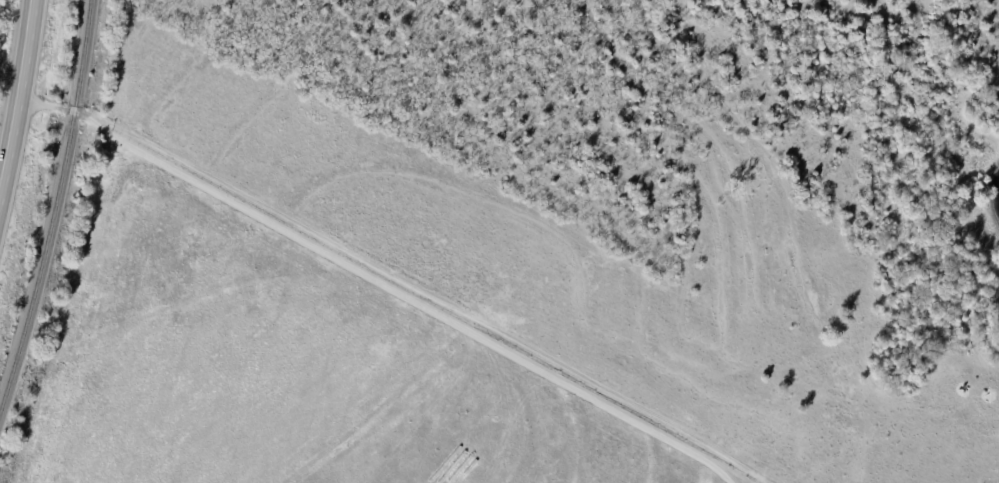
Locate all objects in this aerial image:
road: (36, 94)
road: (21, 104)
road: (194, 170)
railway: (56, 210)
road: (531, 357)

